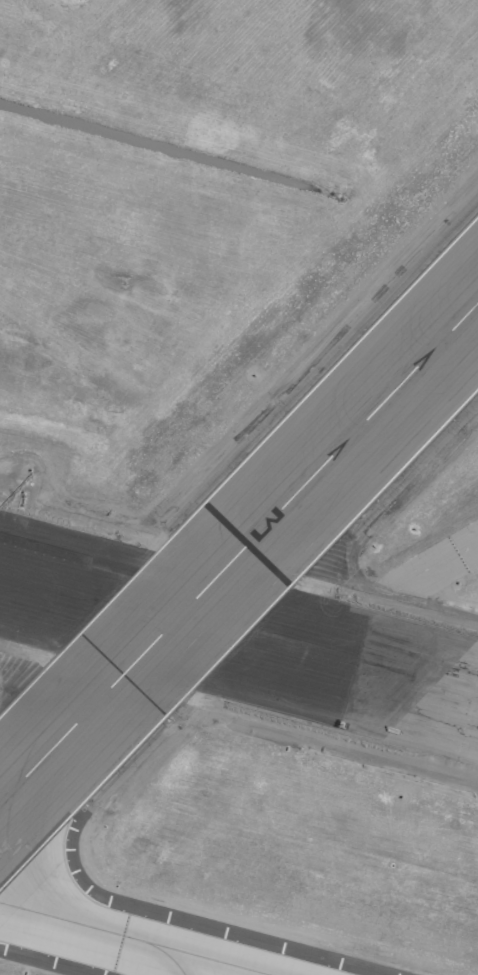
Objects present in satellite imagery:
road: (254, 439)
airport: (239, 487)
airport runway: (239, 557)
airport runway: (239, 640)
airport taxiway: (130, 939)

